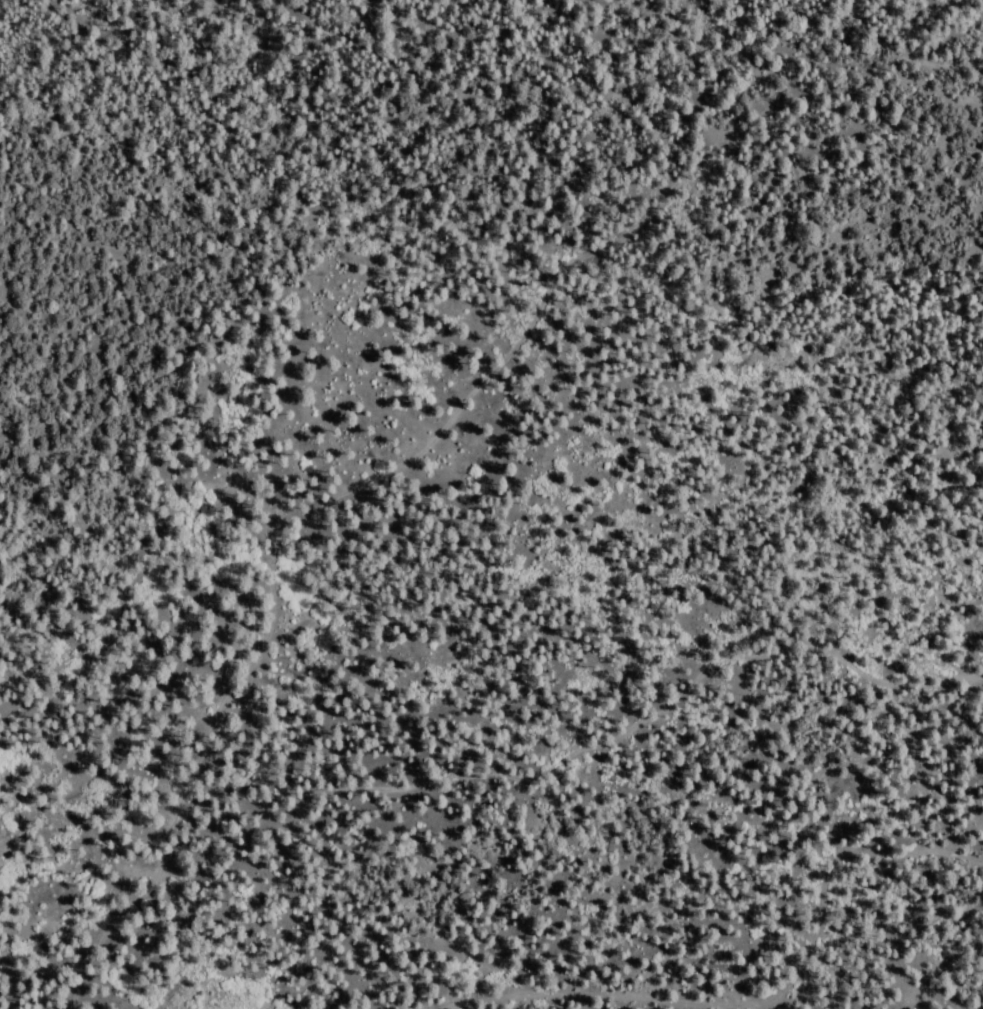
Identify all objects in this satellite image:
road: (806, 945)

